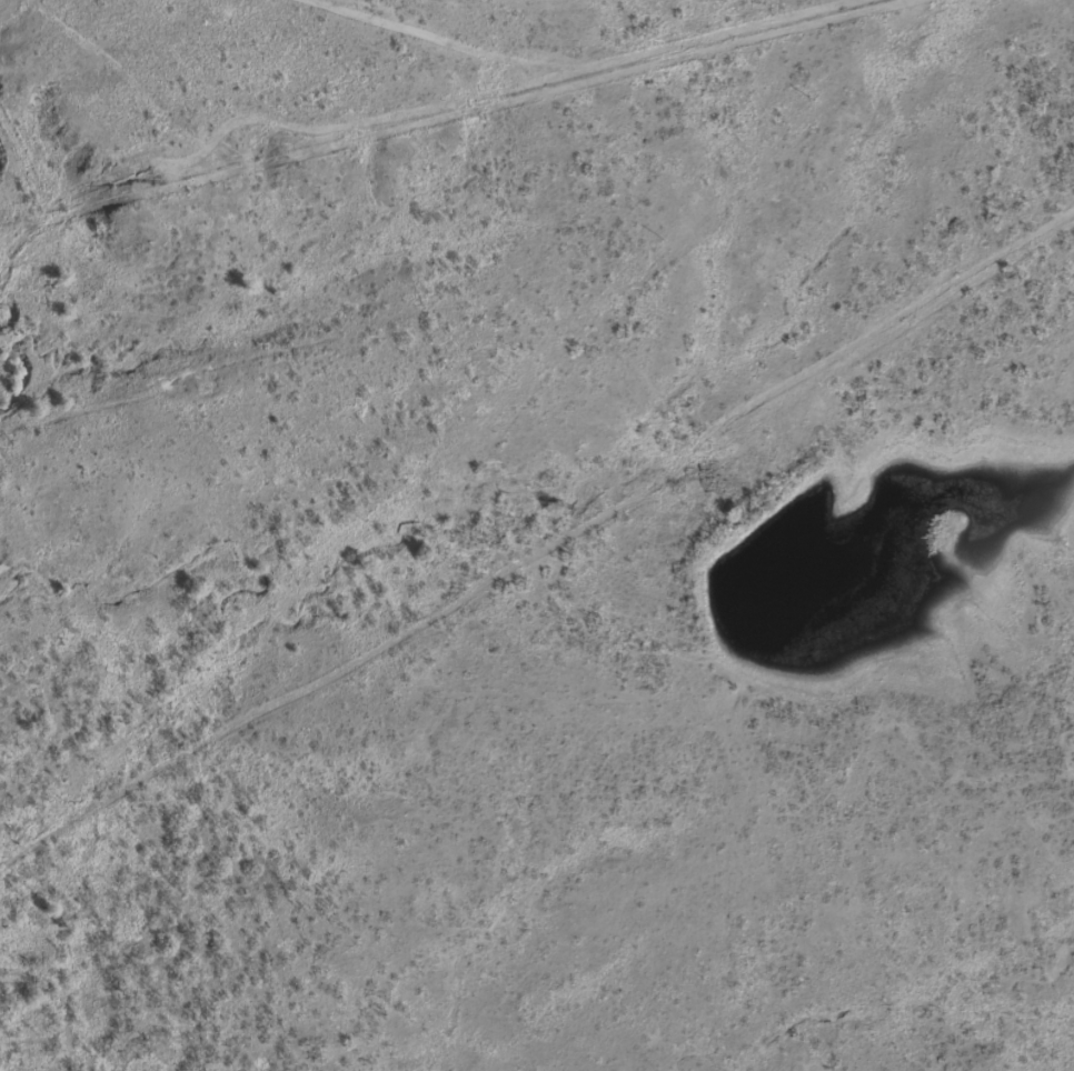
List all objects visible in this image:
road: (550, 579)

